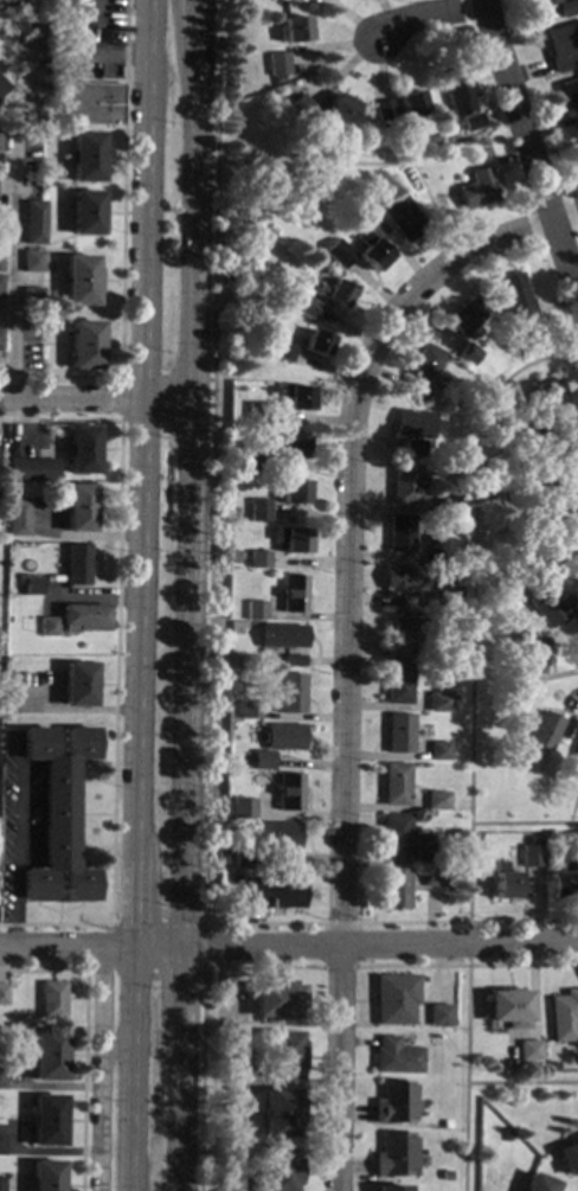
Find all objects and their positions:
building: (12, 1)
building: (542, 2)
building: (567, 9)
road: (99, 15)
road: (426, 17)
building: (294, 30)
building: (563, 46)
building: (277, 64)
road: (187, 70)
road: (25, 82)
building: (1, 88)
building: (456, 89)
building: (569, 94)
building: (92, 104)
building: (301, 108)
building: (340, 109)
building: (411, 110)
building: (384, 111)
building: (574, 121)
building: (473, 123)
building: (433, 139)
building: (1, 141)
road: (529, 143)
building: (86, 156)
road: (142, 162)
road: (364, 165)
building: (476, 191)
building: (366, 199)
building: (86, 213)
road: (566, 213)
building: (1, 216)
building: (403, 219)
building: (36, 223)
road: (122, 248)
building: (371, 250)
building: (338, 254)
building: (1, 261)
building: (33, 262)
road: (13, 265)
building: (82, 281)
building: (1, 288)
building: (334, 294)
building: (33, 297)
building: (515, 299)
building: (298, 305)
building: (40, 319)
building: (465, 320)
building: (0, 340)
building: (316, 345)
building: (84, 346)
road: (577, 348)
building: (282, 351)
building: (468, 354)
road: (142, 361)
building: (479, 364)
building: (419, 372)
building: (441, 389)
building: (548, 393)
road: (121, 397)
building: (294, 397)
road: (70, 398)
road: (168, 398)
building: (255, 414)
building: (412, 424)
building: (529, 424)
building: (289, 446)
building: (82, 450)
building: (412, 450)
building: (563, 452)
building: (252, 461)
road: (212, 462)
building: (26, 470)
road: (192, 476)
building: (548, 482)
building: (404, 486)
building: (291, 493)
building: (514, 493)
building: (448, 501)
building: (572, 501)
building: (78, 508)
building: (257, 511)
building: (231, 514)
building: (18, 519)
building: (561, 530)
building: (399, 533)
building: (291, 540)
building: (433, 549)
building: (257, 561)
road: (524, 562)
building: (76, 568)
building: (404, 581)
building: (30, 585)
building: (293, 595)
building: (441, 603)
building: (552, 606)
road: (469, 608)
building: (255, 611)
building: (85, 617)
building: (49, 627)
road: (135, 628)
building: (403, 635)
building: (282, 636)
building: (527, 648)
road: (345, 651)
building: (294, 661)
road: (115, 667)
building: (397, 684)
building: (78, 685)
building: (514, 686)
building: (290, 694)
building: (438, 703)
building: (249, 710)
building: (548, 729)
building: (398, 734)
building: (278, 737)
building: (576, 751)
building: (438, 753)
building: (262, 761)
building: (394, 785)
building: (289, 793)
building: (437, 802)
building: (242, 809)
building: (58, 819)
road: (522, 824)
building: (277, 837)
building: (399, 837)
building: (532, 841)
building: (529, 856)
building: (428, 857)
building: (243, 858)
building: (436, 877)
building: (563, 882)
building: (502, 883)
building: (394, 890)
building: (275, 894)
road: (128, 905)
road: (468, 922)
road: (263, 923)
road: (340, 923)
road: (155, 924)
road: (467, 943)
road: (204, 946)
road: (378, 948)
road: (63, 950)
road: (153, 952)
road: (339, 966)
road: (467, 966)
road: (144, 968)
building: (4, 995)
road: (179, 997)
building: (52, 1000)
building: (277, 1000)
building: (394, 1000)
building: (508, 1008)
building: (563, 1016)
building: (439, 1017)
road: (201, 1020)
road: (84, 1037)
road: (113, 1048)
building: (528, 1051)
building: (49, 1056)
building: (283, 1056)
building: (396, 1058)
road: (101, 1070)
road: (124, 1070)
road: (463, 1077)
building: (1, 1078)
road: (520, 1082)
building: (394, 1104)
building: (281, 1114)
road: (178, 1116)
building: (47, 1121)
building: (444, 1126)
building: (505, 1136)
building: (1, 1146)
building: (393, 1157)
building: (569, 1158)
building: (278, 1170)
building: (46, 1176)
building: (444, 1177)
building: (1, 1184)
building: (537, 1184)
building: (388, 1189)

